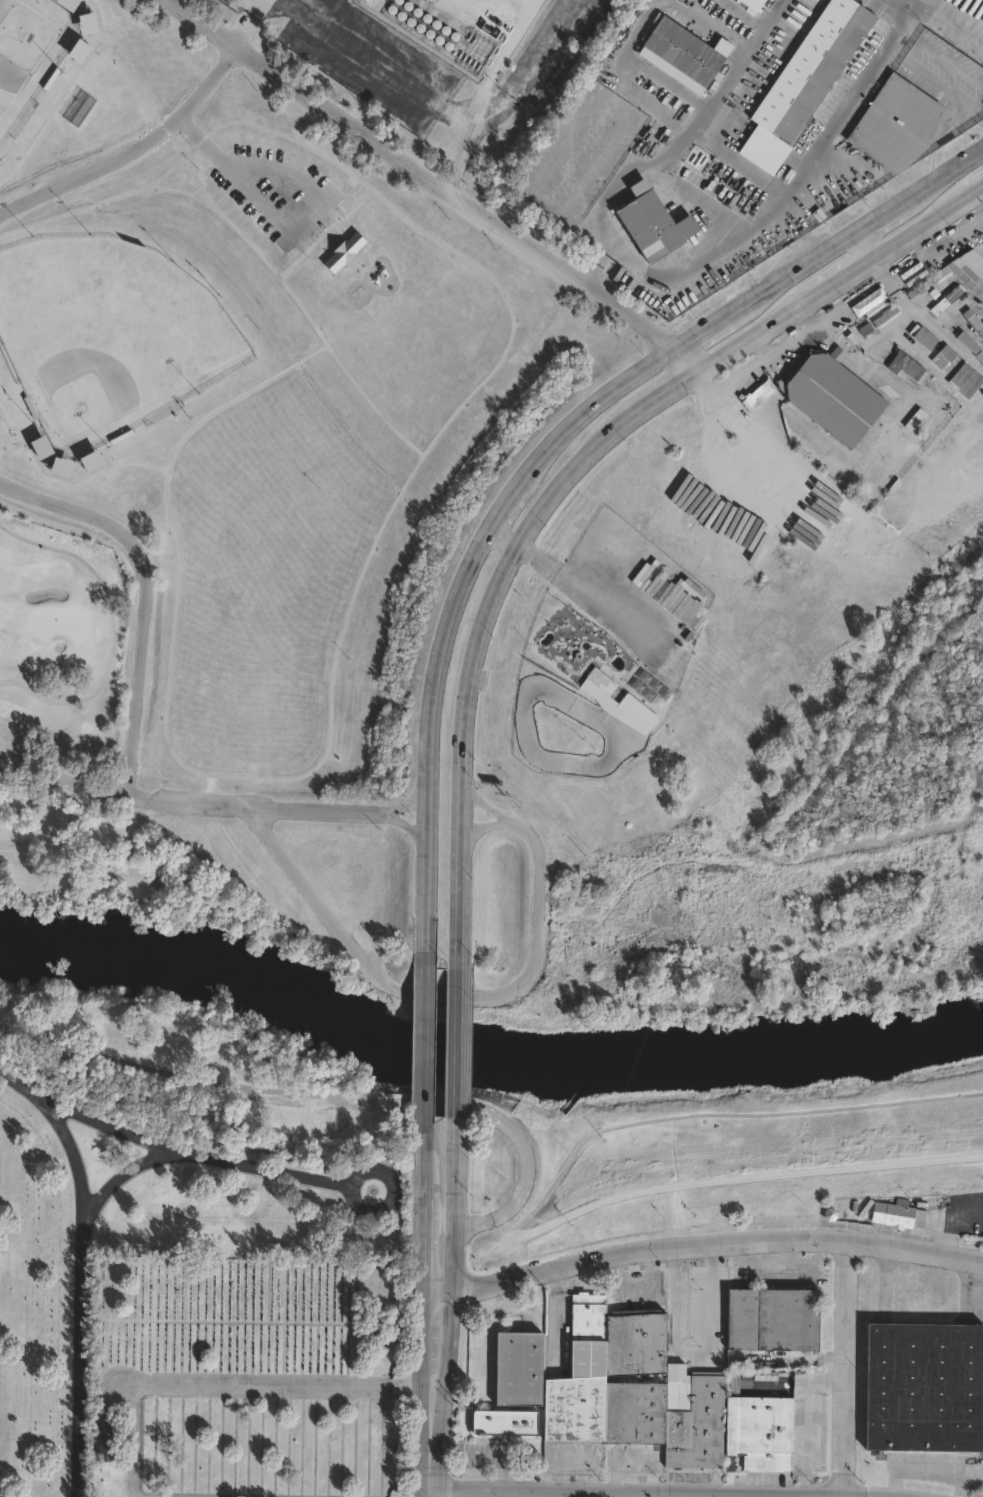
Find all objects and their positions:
building: (754, 4)
road: (907, 7)
road: (99, 19)
building: (87, 23)
road: (761, 27)
park: (27, 50)
building: (78, 50)
building: (685, 52)
road: (93, 53)
building: (806, 83)
road: (946, 89)
road: (265, 115)
building: (898, 124)
road: (135, 155)
road: (176, 159)
road: (422, 173)
road: (964, 199)
building: (654, 224)
road: (869, 225)
road: (295, 227)
road: (911, 235)
road: (867, 245)
road: (473, 248)
building: (343, 252)
road: (882, 269)
building: (961, 271)
road: (831, 286)
building: (946, 300)
building: (886, 315)
road: (831, 318)
building: (972, 318)
park: (112, 323)
road: (717, 323)
building: (924, 338)
road: (743, 341)
building: (968, 342)
road: (328, 344)
building: (945, 355)
road: (690, 358)
building: (905, 365)
building: (965, 380)
park: (251, 387)
road: (659, 397)
building: (832, 397)
road: (597, 399)
building: (915, 419)
road: (25, 435)
building: (42, 447)
building: (92, 460)
building: (61, 467)
road: (710, 471)
road: (508, 499)
road: (502, 538)
road: (586, 595)
park: (58, 642)
road: (141, 649)
road: (466, 674)
building: (603, 681)
building: (639, 712)
road: (430, 738)
road: (329, 742)
road: (65, 779)
road: (408, 798)
road: (481, 803)
road: (316, 809)
park: (737, 823)
road: (408, 829)
road: (477, 829)
river: (225, 972)
road: (431, 995)
road: (425, 1039)
road: (460, 1047)
river: (709, 1054)
road: (237, 1071)
road: (651, 1118)
road: (178, 1152)
road: (424, 1162)
road: (457, 1172)
road: (710, 1177)
road: (86, 1198)
road: (519, 1207)
building: (899, 1216)
road: (480, 1220)
road: (423, 1243)
road: (701, 1247)
park: (194, 1296)
road: (672, 1297)
road: (708, 1315)
building: (774, 1319)
road: (85, 1355)
road: (448, 1359)
road: (848, 1368)
building: (515, 1370)
road: (188, 1382)
building: (924, 1387)
building: (635, 1389)
road: (420, 1391)
road: (802, 1414)
building: (504, 1422)
building: (762, 1432)
building: (105, 1443)
road: (697, 1493)

